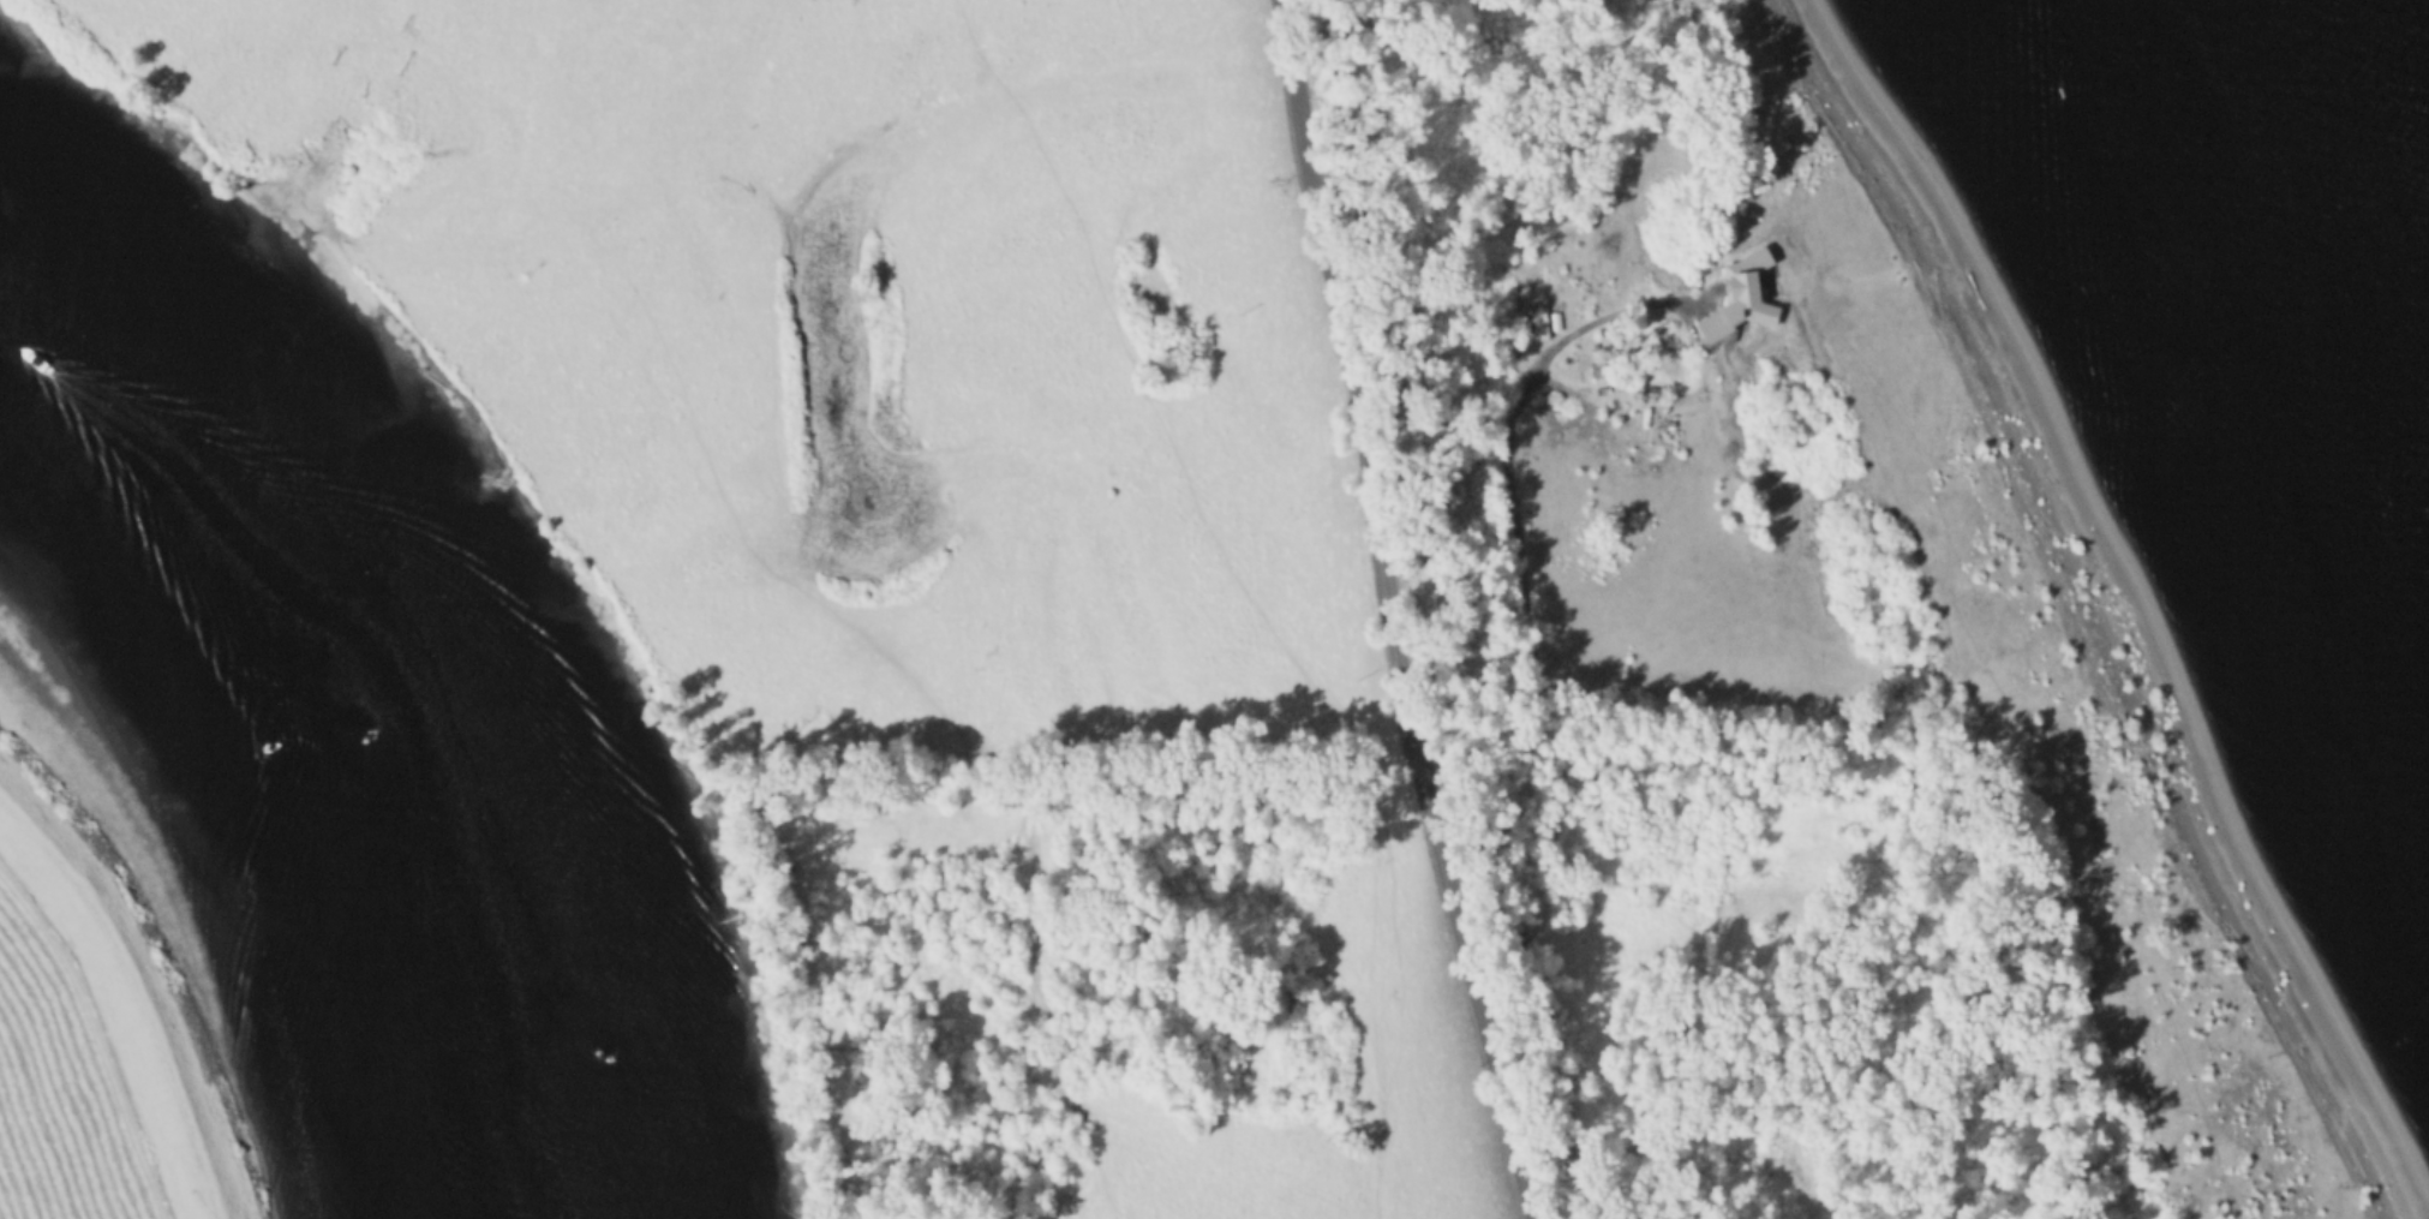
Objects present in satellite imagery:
building: (1752, 304)
road: (1310, 399)
road: (1508, 501)
road: (1387, 613)
river: (357, 710)
road: (139, 991)
crop: (64, 1096)

